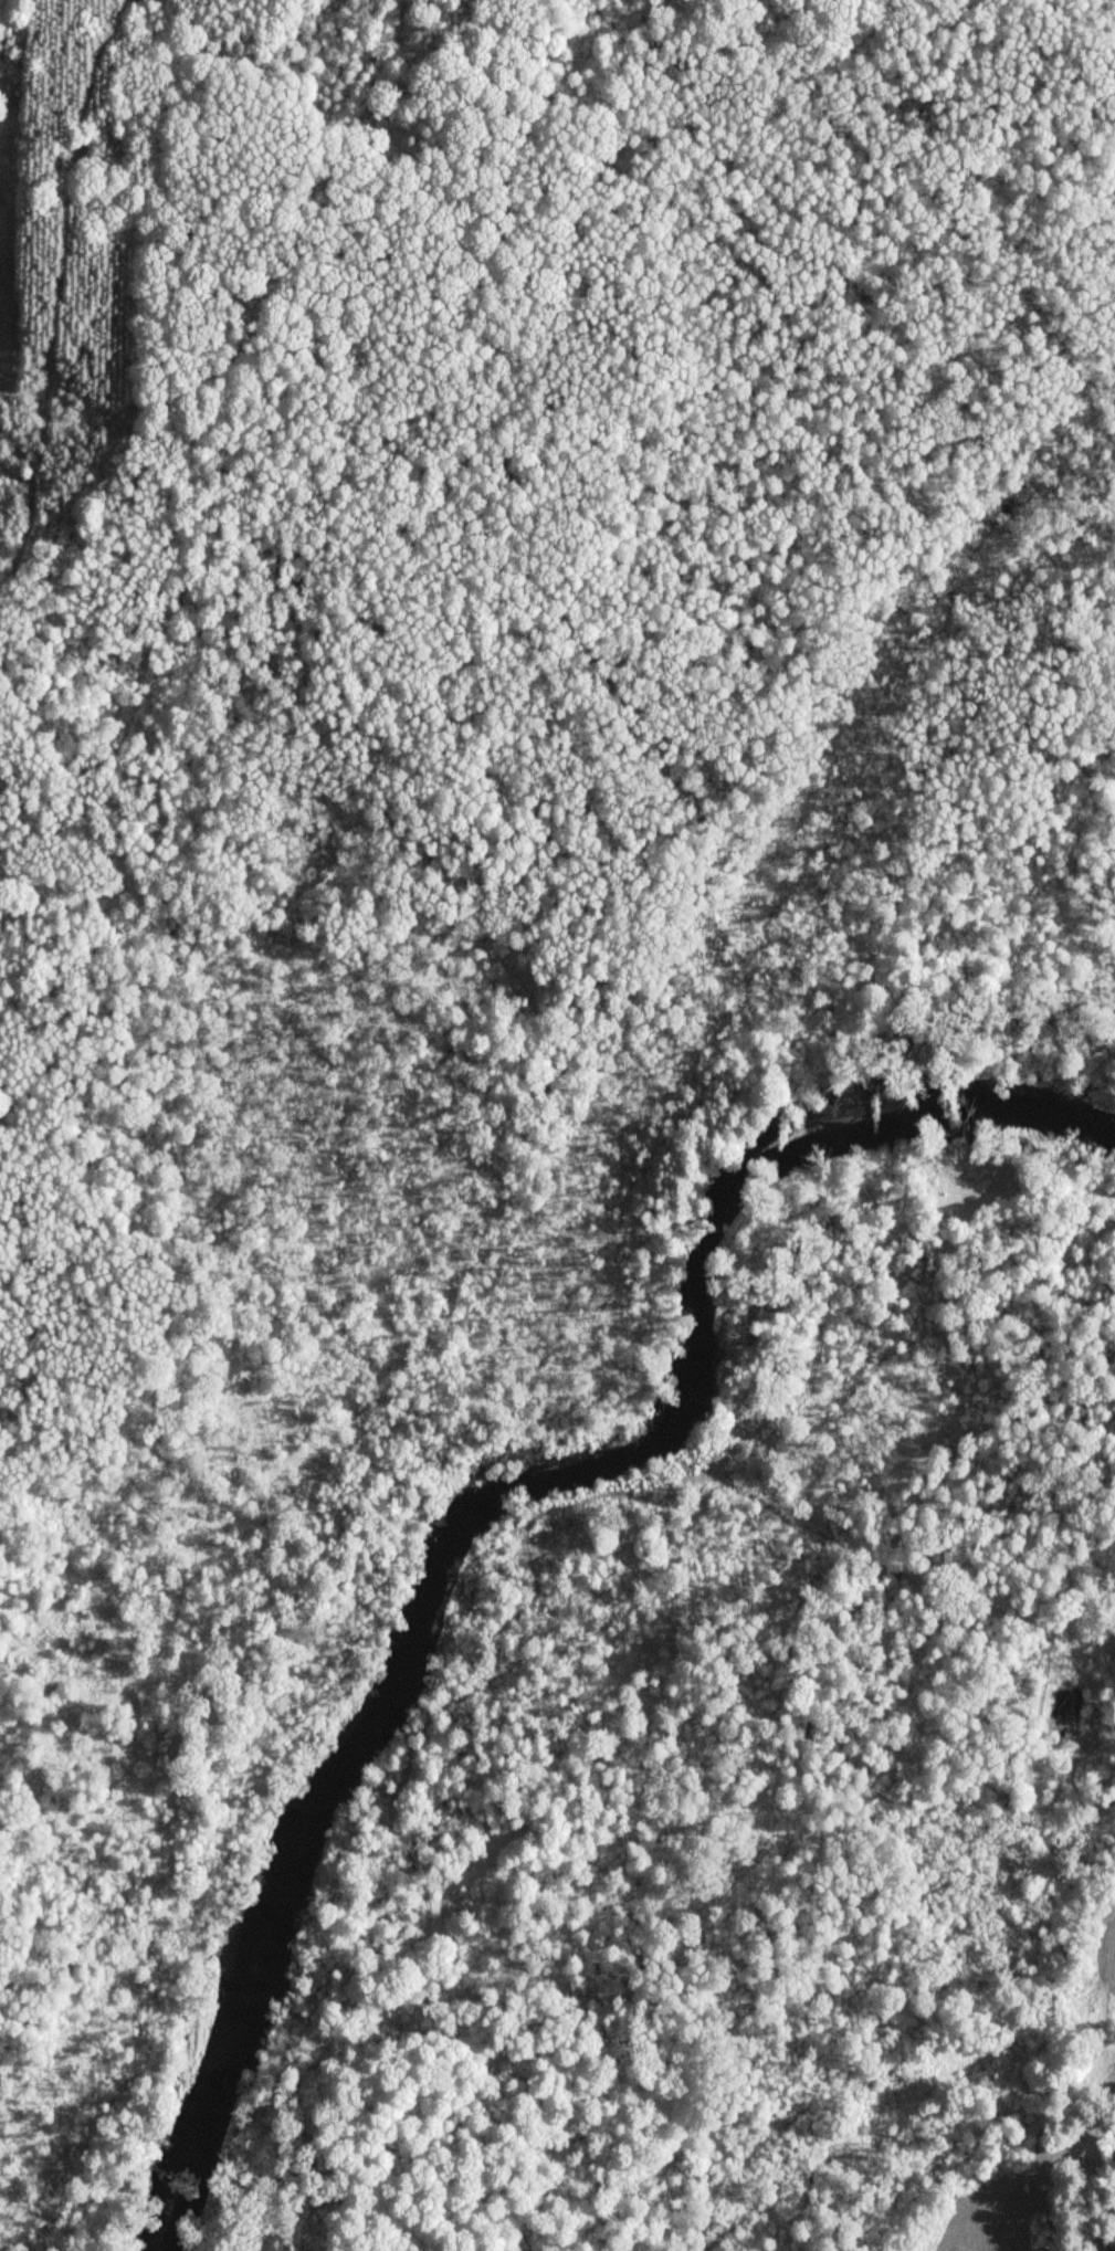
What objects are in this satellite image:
river: (509, 1489)
building: (1108, 2238)

